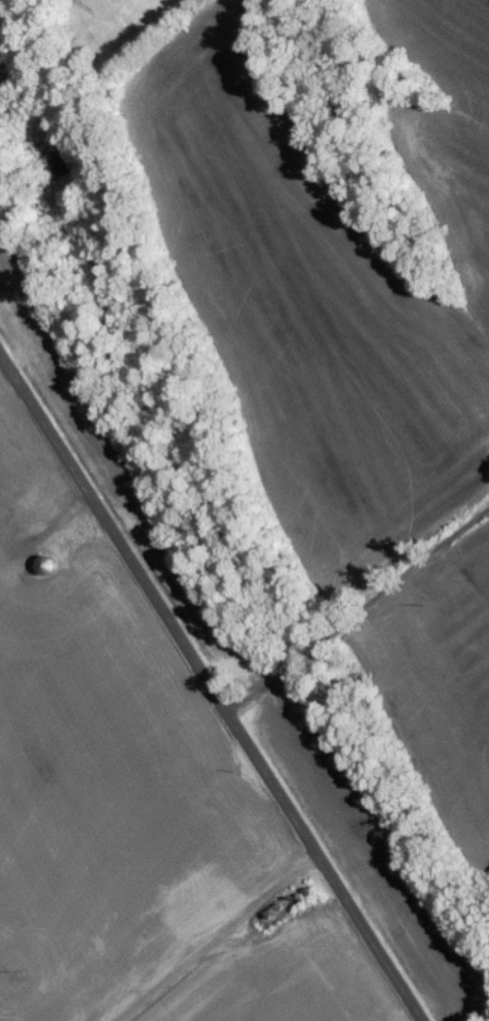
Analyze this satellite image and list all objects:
road: (353, 582)
road: (210, 687)
road: (436, 919)

